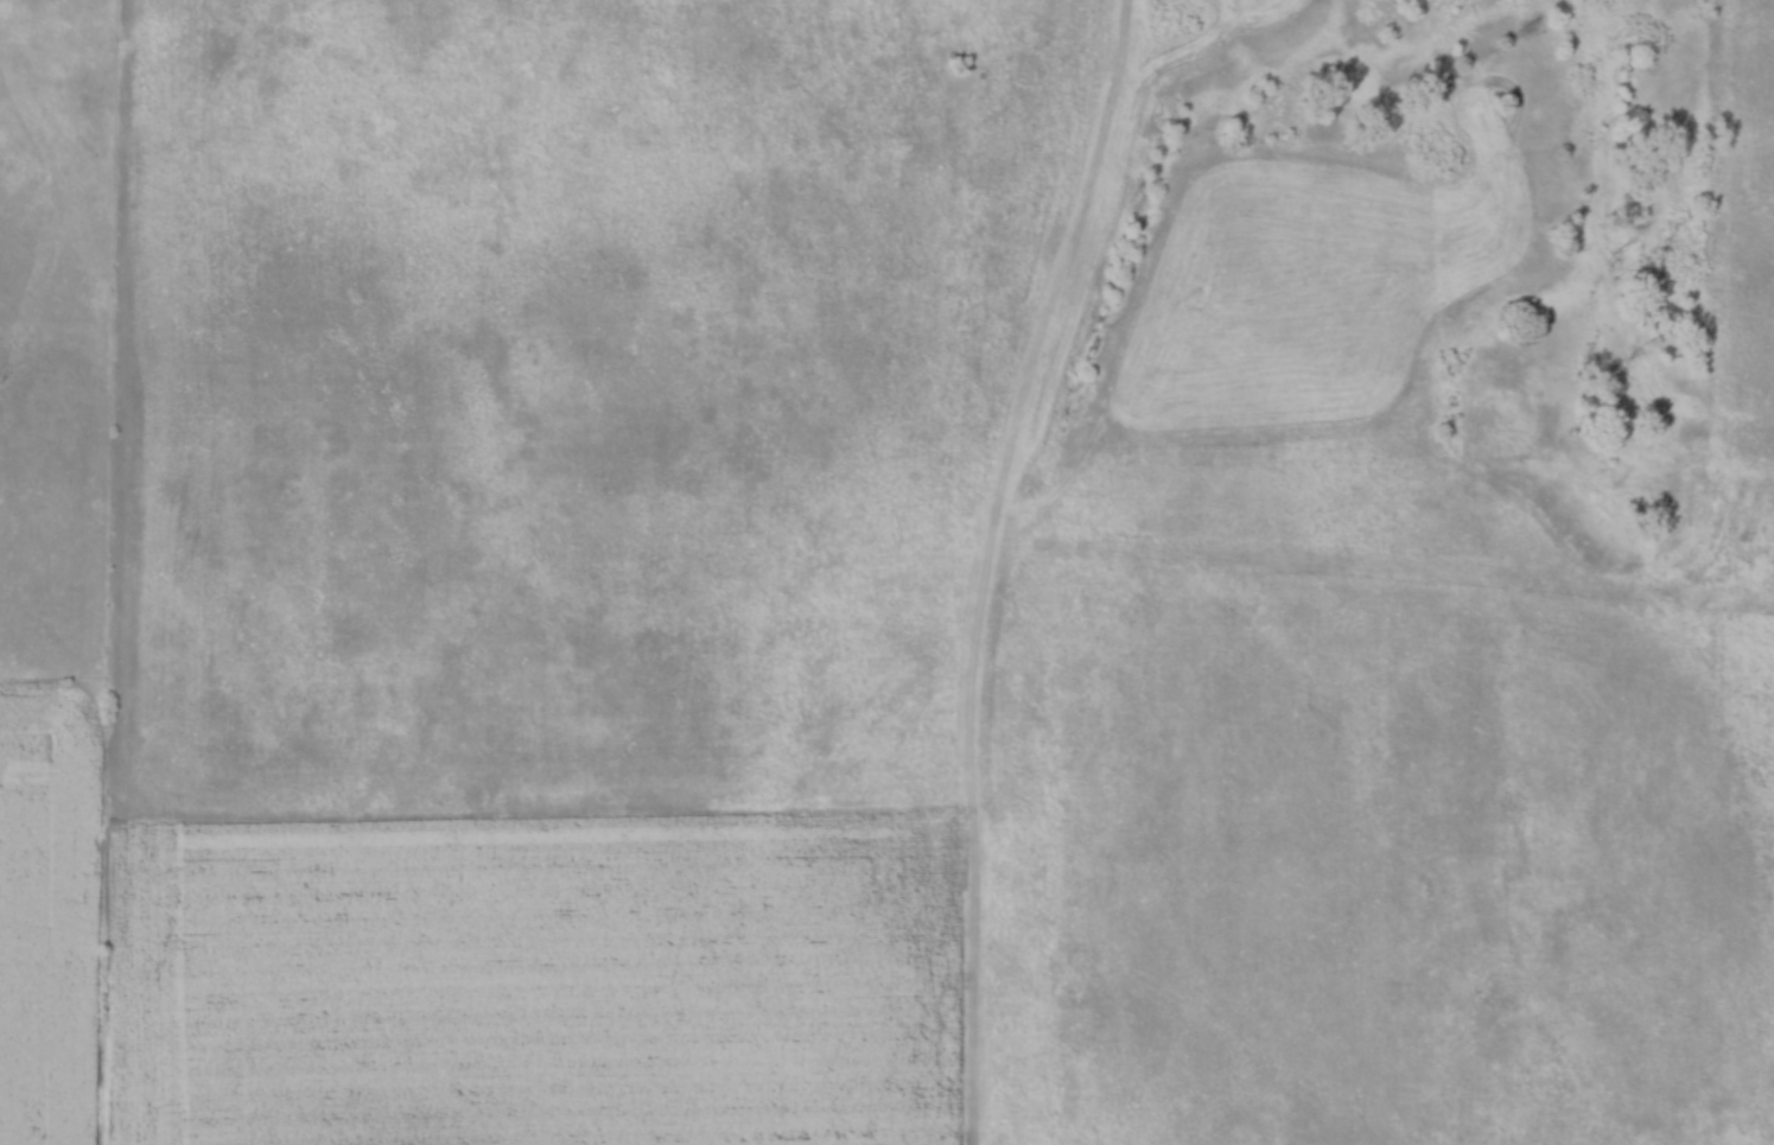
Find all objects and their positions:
crop: (50, 915)
crop: (545, 981)

